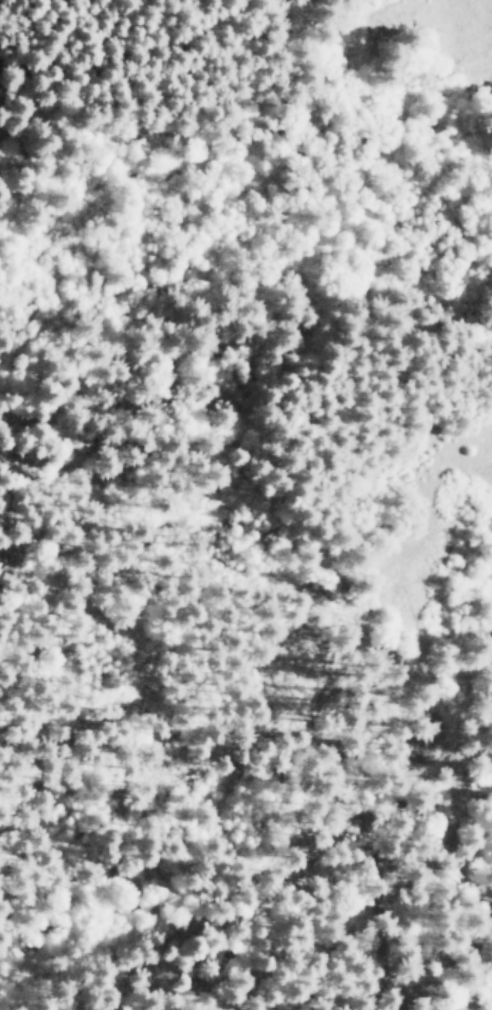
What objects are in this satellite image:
crop: (244, 497)

